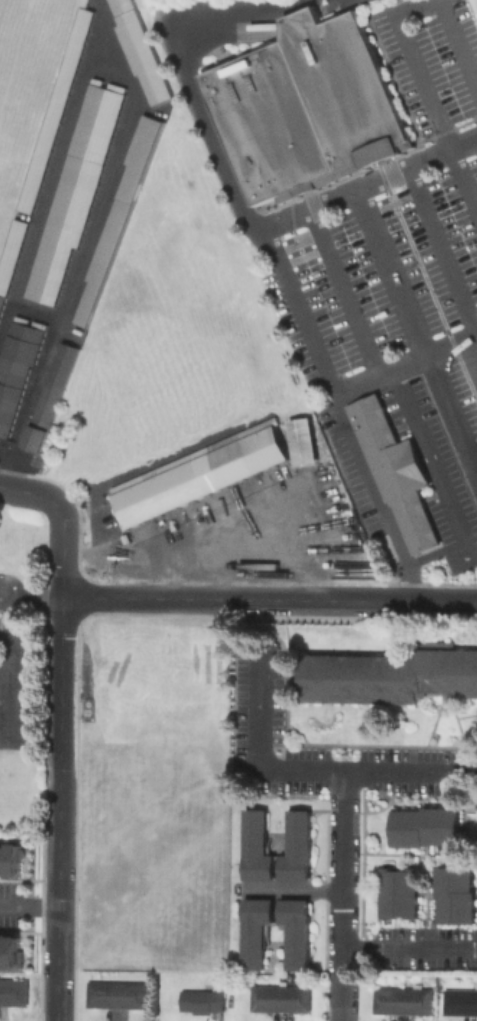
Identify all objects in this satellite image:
road: (455, 50)
building: (139, 51)
road: (424, 96)
building: (307, 109)
building: (53, 111)
road: (371, 189)
building: (73, 191)
building: (118, 215)
parking lot: (394, 217)
road: (262, 230)
building: (10, 255)
road: (442, 255)
road: (263, 264)
road: (390, 277)
road: (344, 298)
road: (476, 337)
building: (15, 369)
building: (48, 397)
parking lot: (462, 398)
road: (451, 420)
building: (302, 443)
road: (471, 453)
road: (0, 461)
parking lot: (431, 462)
road: (429, 471)
building: (394, 472)
building: (198, 474)
road: (26, 492)
road: (375, 501)
road: (93, 547)
road: (189, 565)
road: (275, 569)
road: (224, 600)
road: (433, 602)
road: (76, 617)
road: (446, 630)
road: (4, 643)
road: (467, 645)
road: (375, 649)
road: (59, 670)
building: (388, 676)
parking lot: (257, 699)
road: (451, 710)
road: (436, 722)
road: (467, 738)
road: (318, 747)
road: (291, 770)
building: (424, 826)
building: (255, 846)
building: (296, 847)
building: (8, 855)
road: (340, 871)
road: (290, 889)
building: (398, 893)
building: (454, 896)
road: (28, 908)
road: (55, 929)
building: (255, 931)
building: (296, 932)
road: (408, 946)
building: (7, 949)
building: (13, 992)
building: (115, 996)
road: (339, 996)
building: (278, 999)
building: (400, 1000)
building: (199, 1002)
building: (459, 1002)

